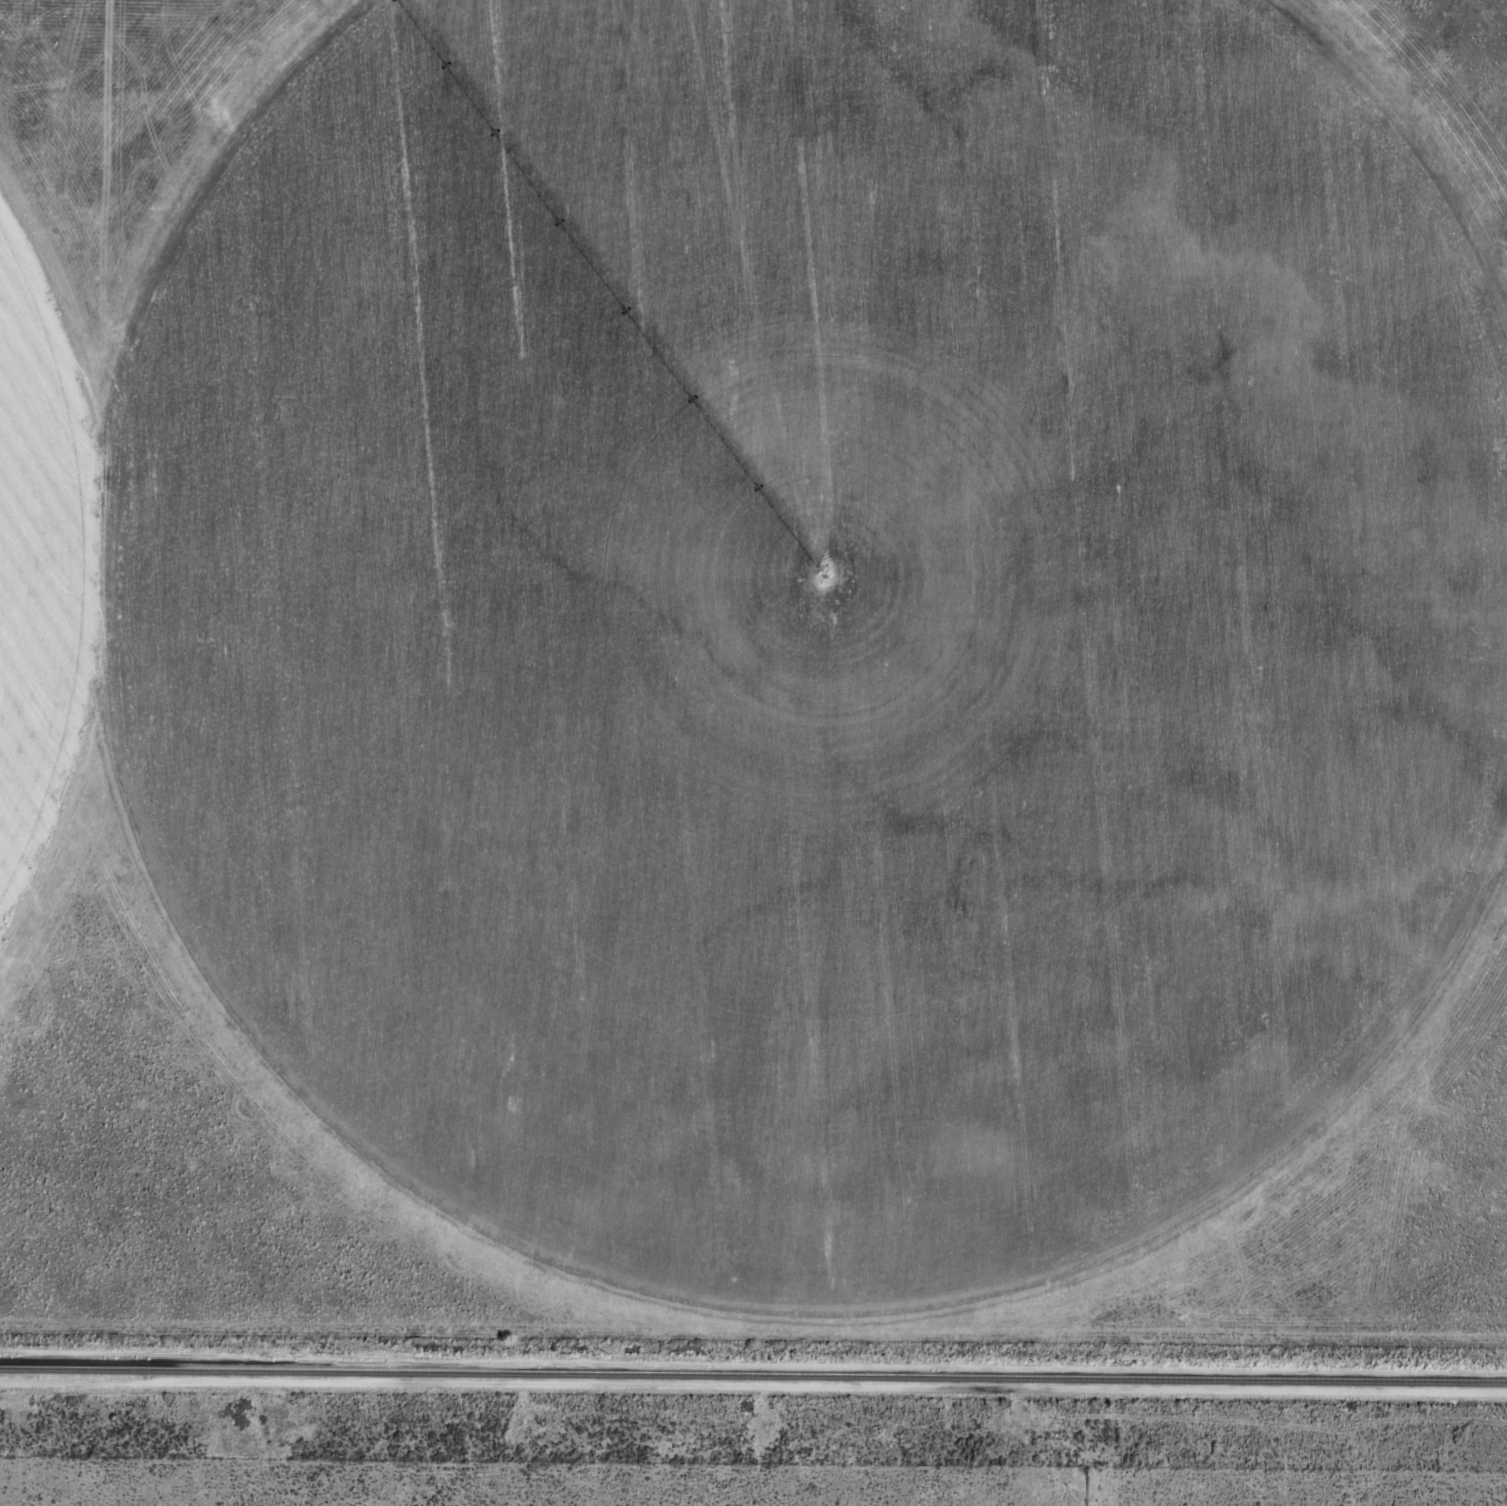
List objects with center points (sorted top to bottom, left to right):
railway: (753, 1376)

